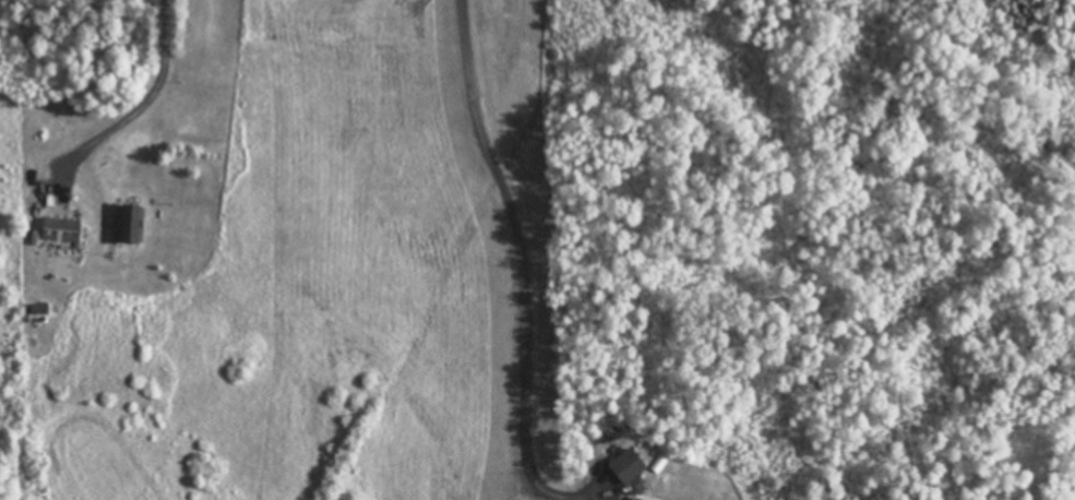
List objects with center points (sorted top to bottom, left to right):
building: (129, 224)
building: (61, 230)
building: (39, 309)
building: (636, 499)

